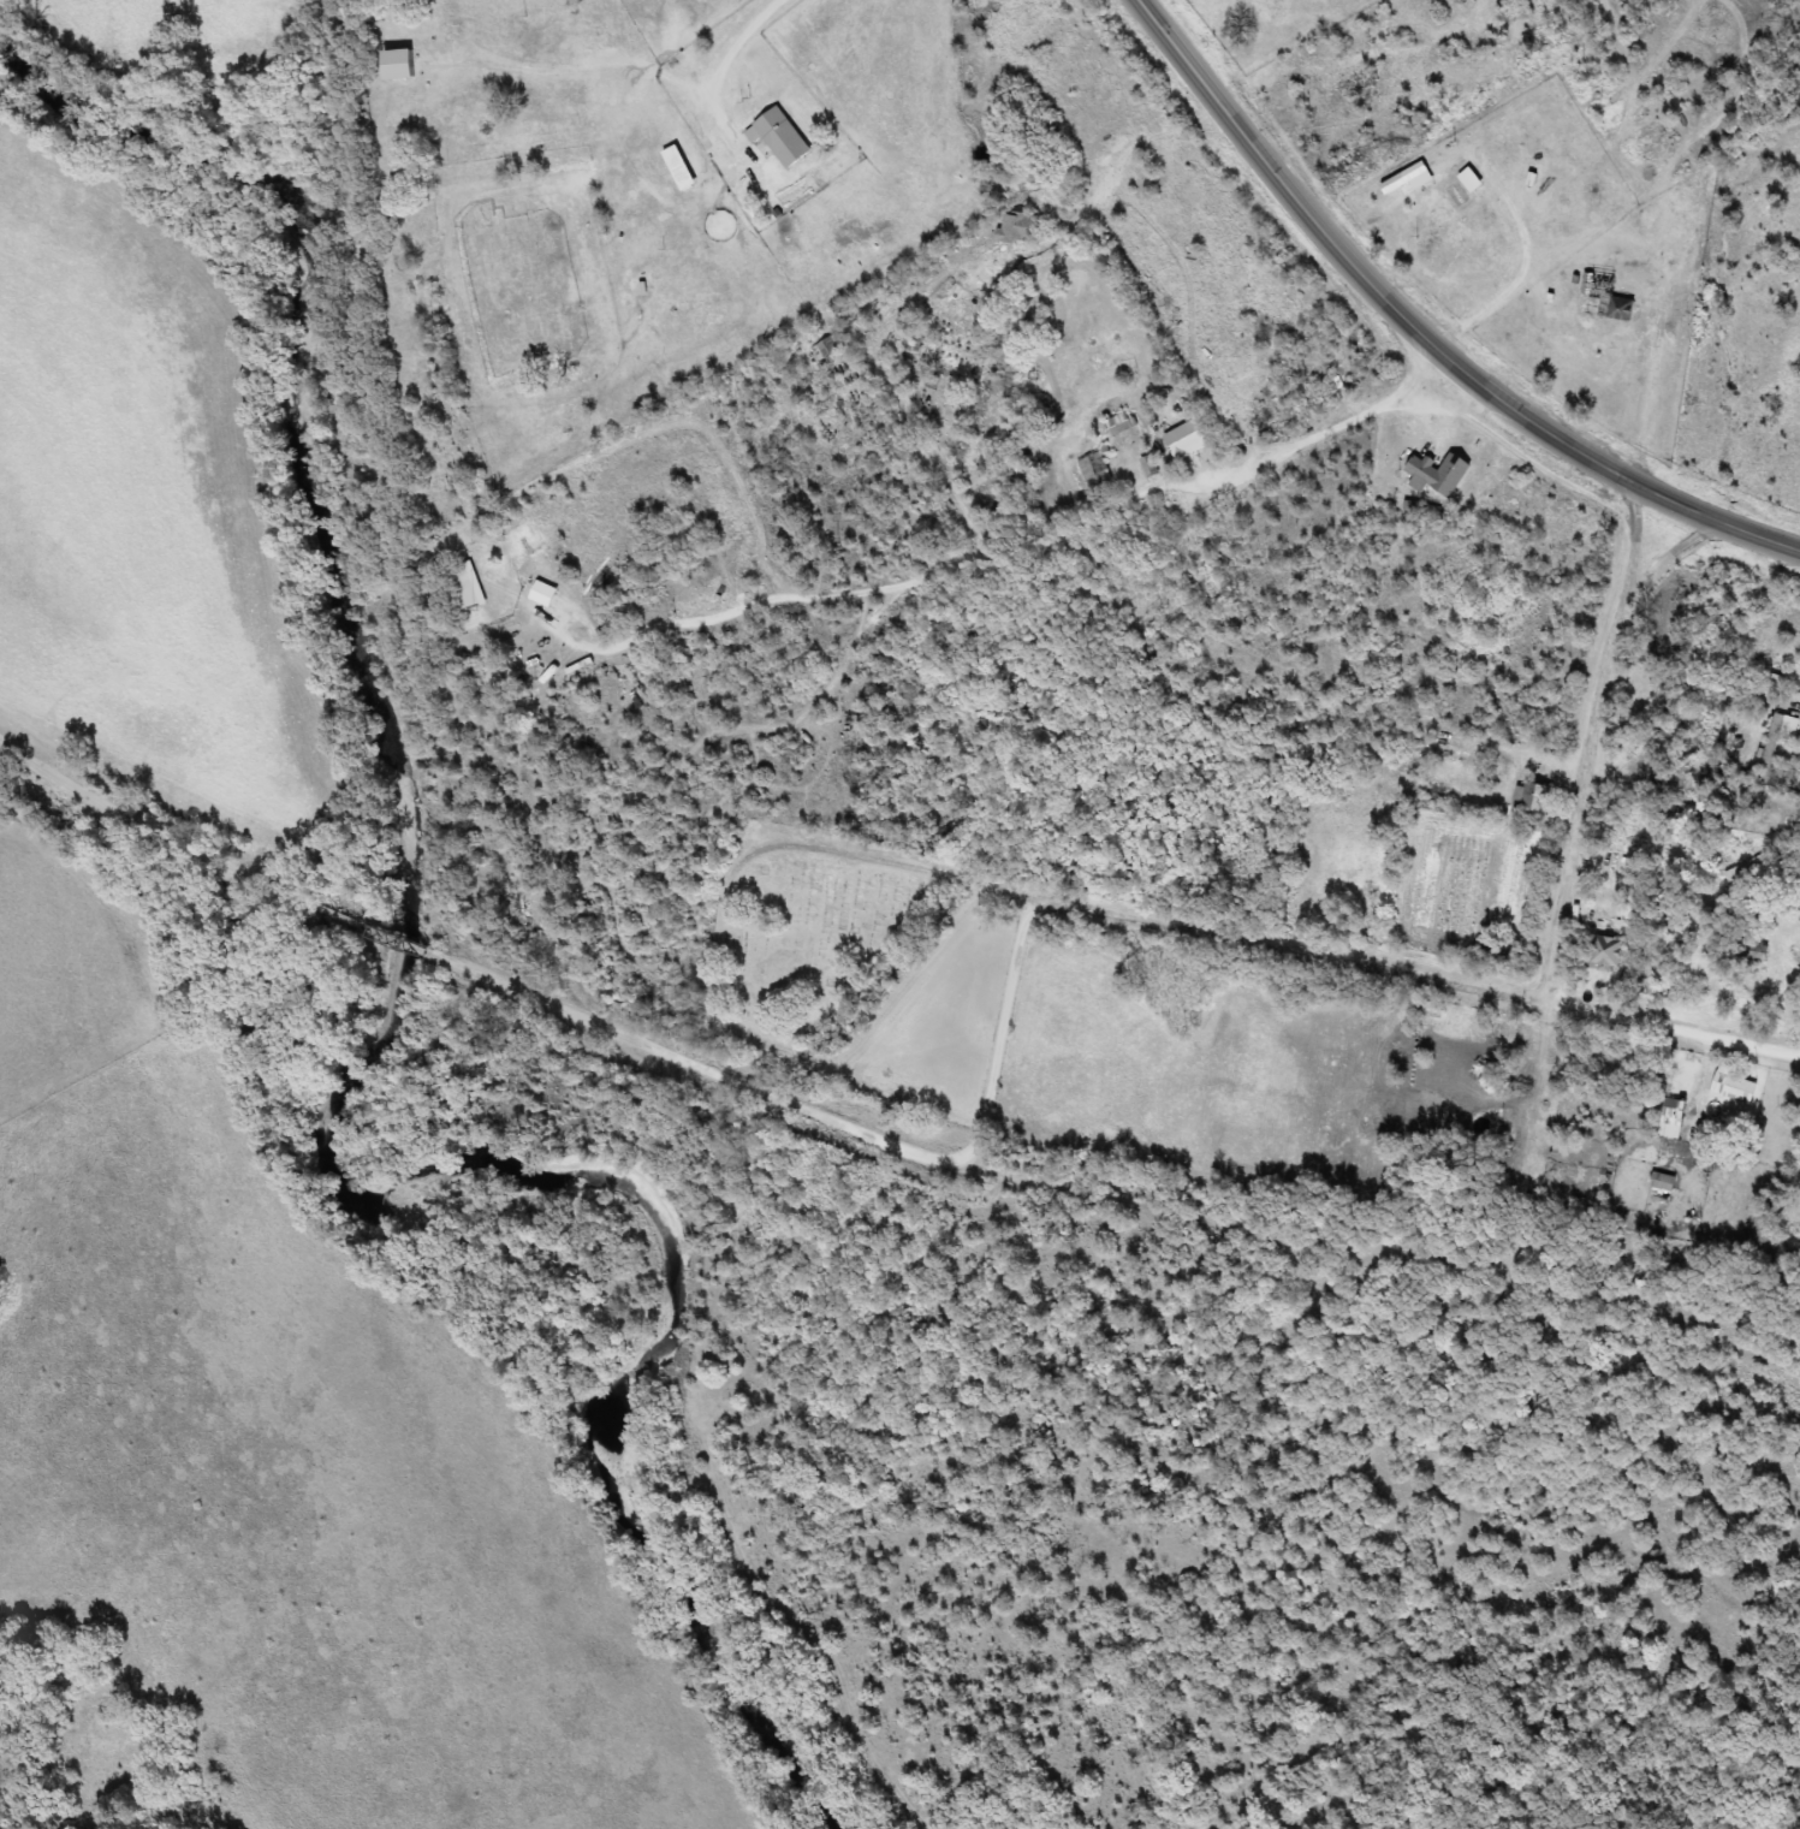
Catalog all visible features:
road: (733, 57)
building: (396, 65)
building: (777, 138)
building: (1014, 228)
building: (1598, 290)
building: (1623, 309)
road: (1427, 329)
road: (1456, 332)
building: (1183, 441)
building: (1436, 474)
railway: (400, 528)
building: (463, 588)
building: (1662, 736)
building: (1529, 801)
road: (1293, 950)
building: (1603, 954)
park: (850, 961)
road: (779, 1069)
building: (1733, 1088)
building: (1661, 1182)
railway: (1142, 1390)

